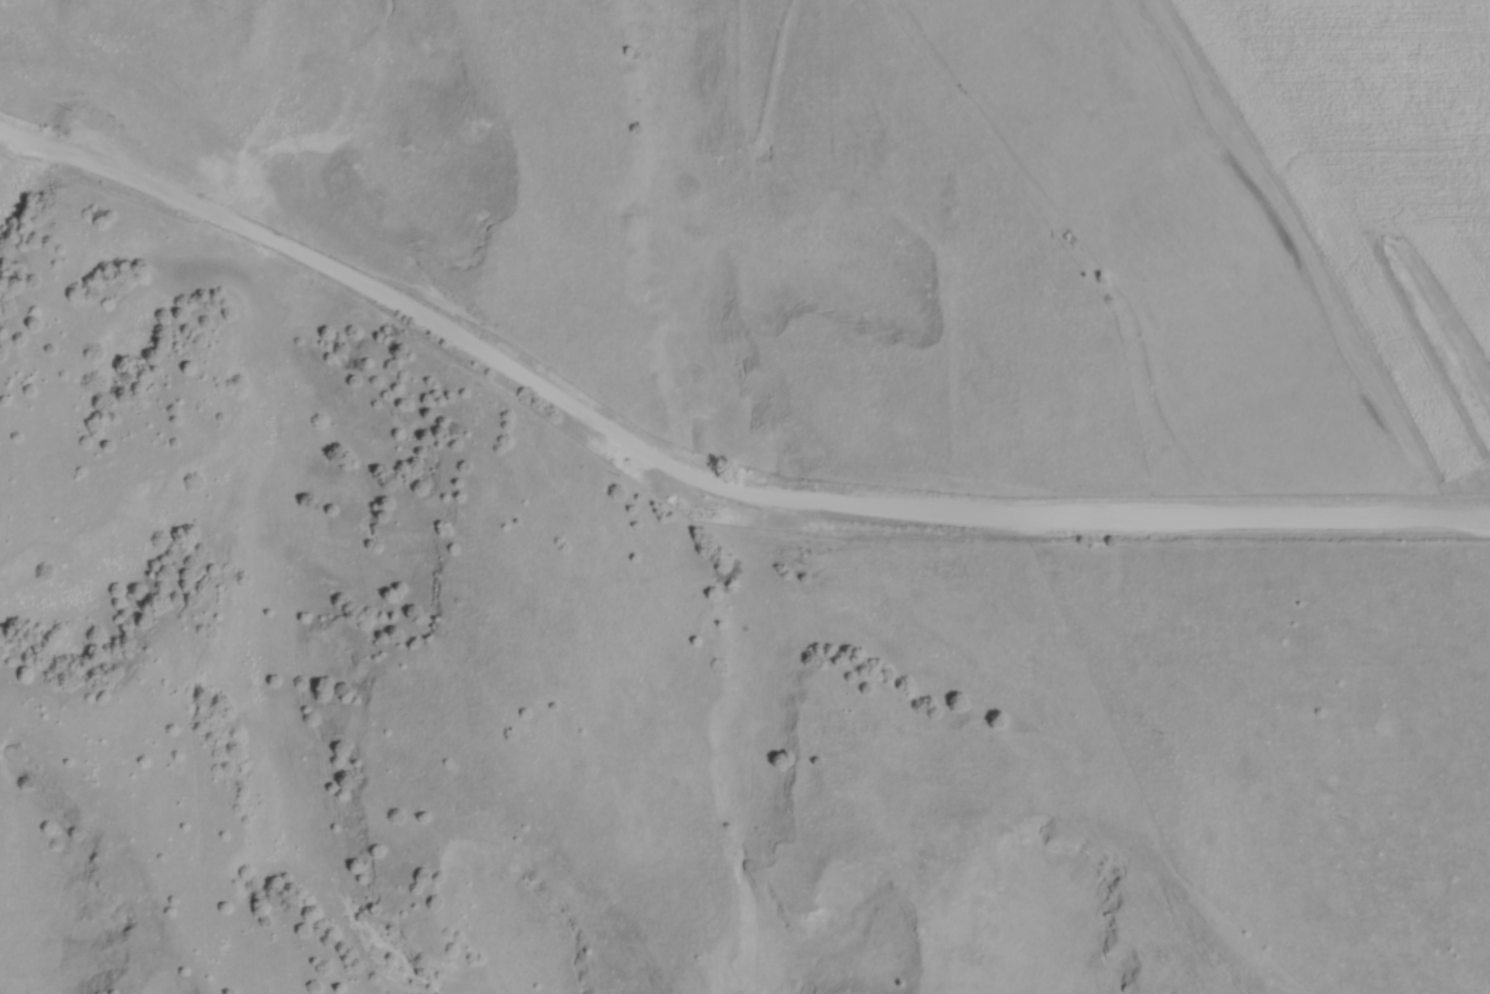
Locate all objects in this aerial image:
road: (703, 485)

